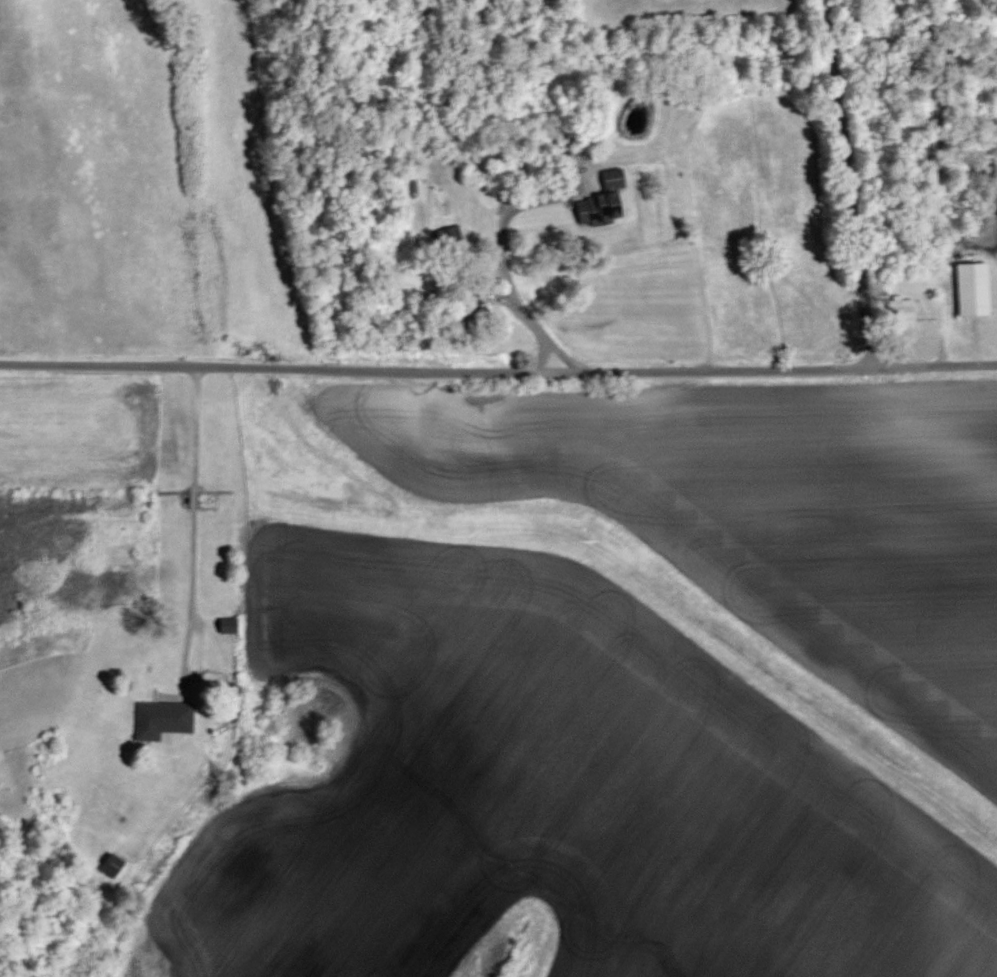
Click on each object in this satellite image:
road: (852, 178)
building: (601, 201)
building: (447, 235)
road: (502, 260)
building: (972, 289)
building: (903, 310)
building: (472, 316)
road: (563, 355)
road: (498, 371)
building: (227, 626)
road: (209, 692)
building: (161, 720)
building: (109, 808)
building: (111, 866)

